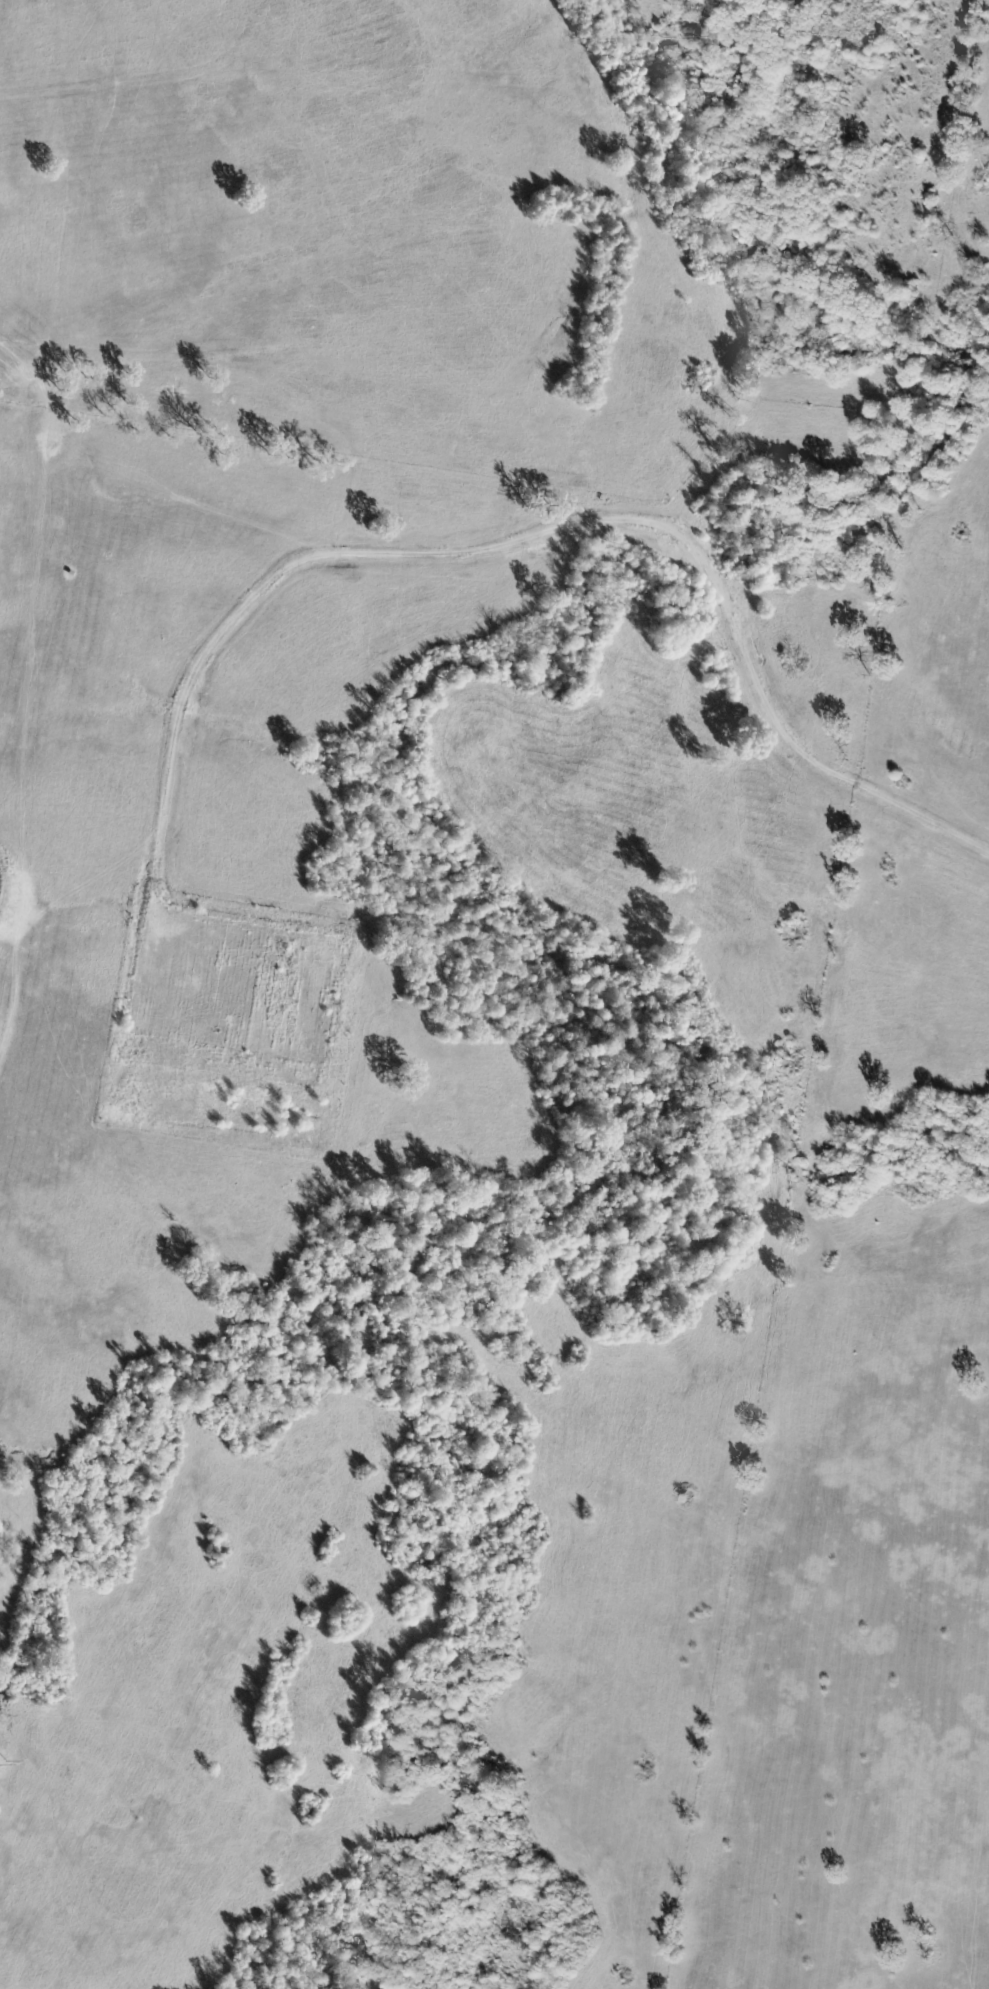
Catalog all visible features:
power tower: (0, 1755)

